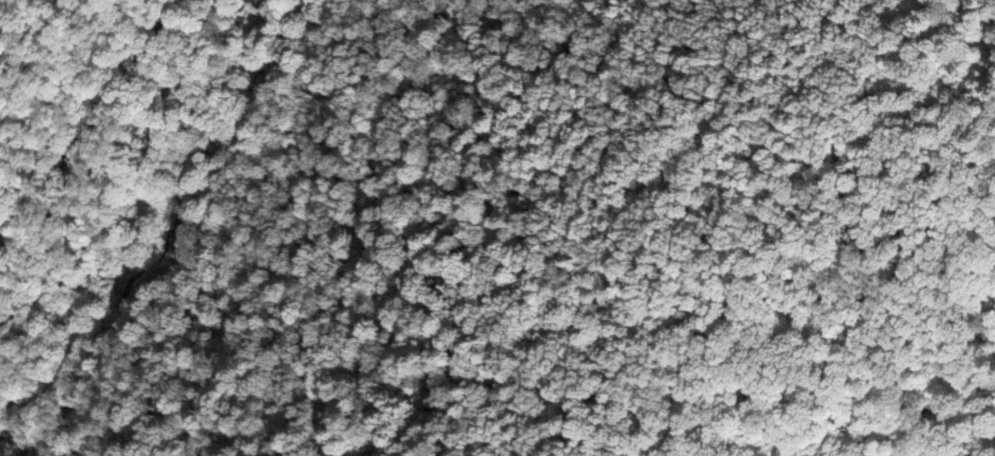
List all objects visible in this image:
road: (95, 125)

